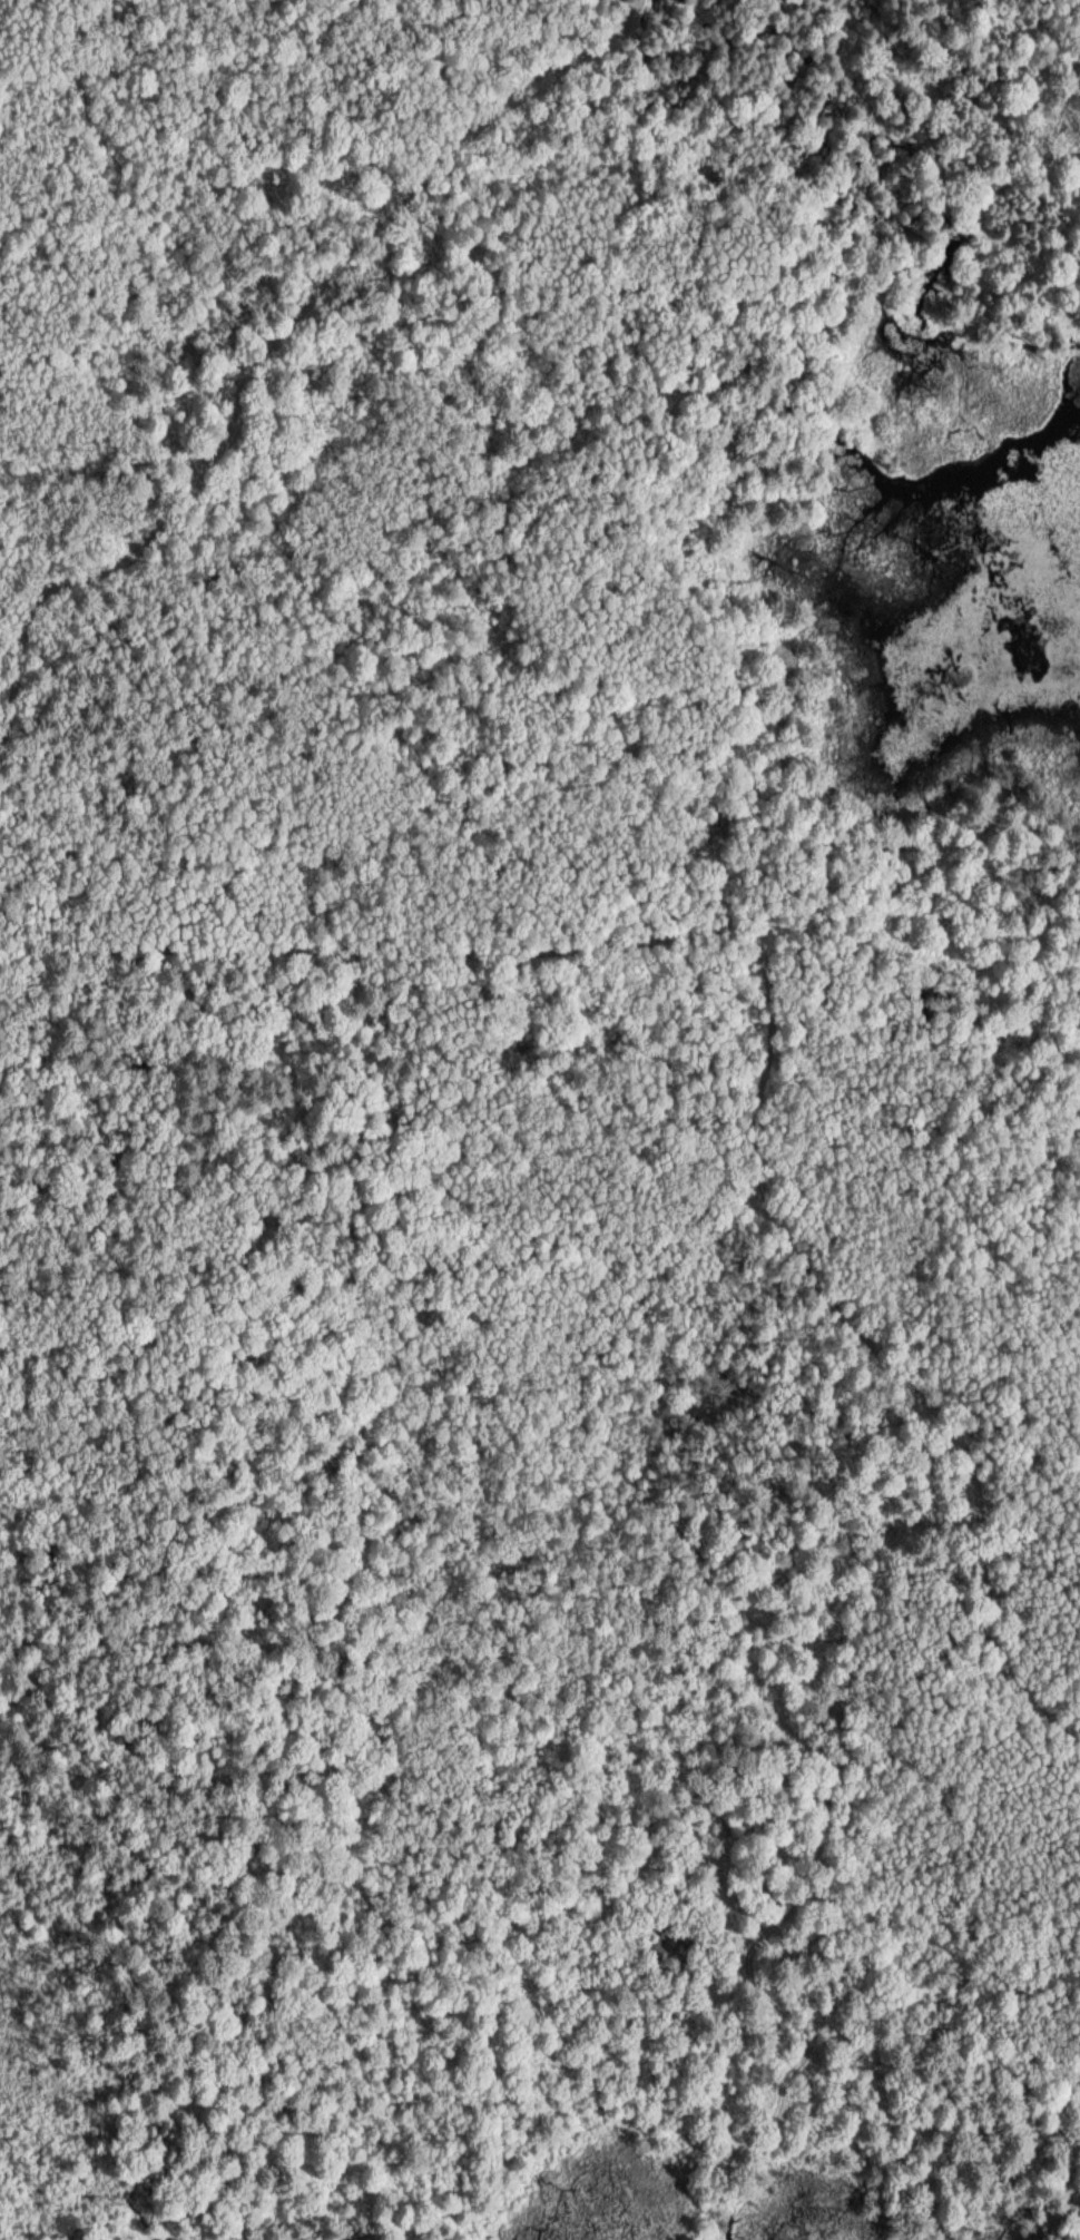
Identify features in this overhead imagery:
road: (302, 345)
road: (773, 1011)

